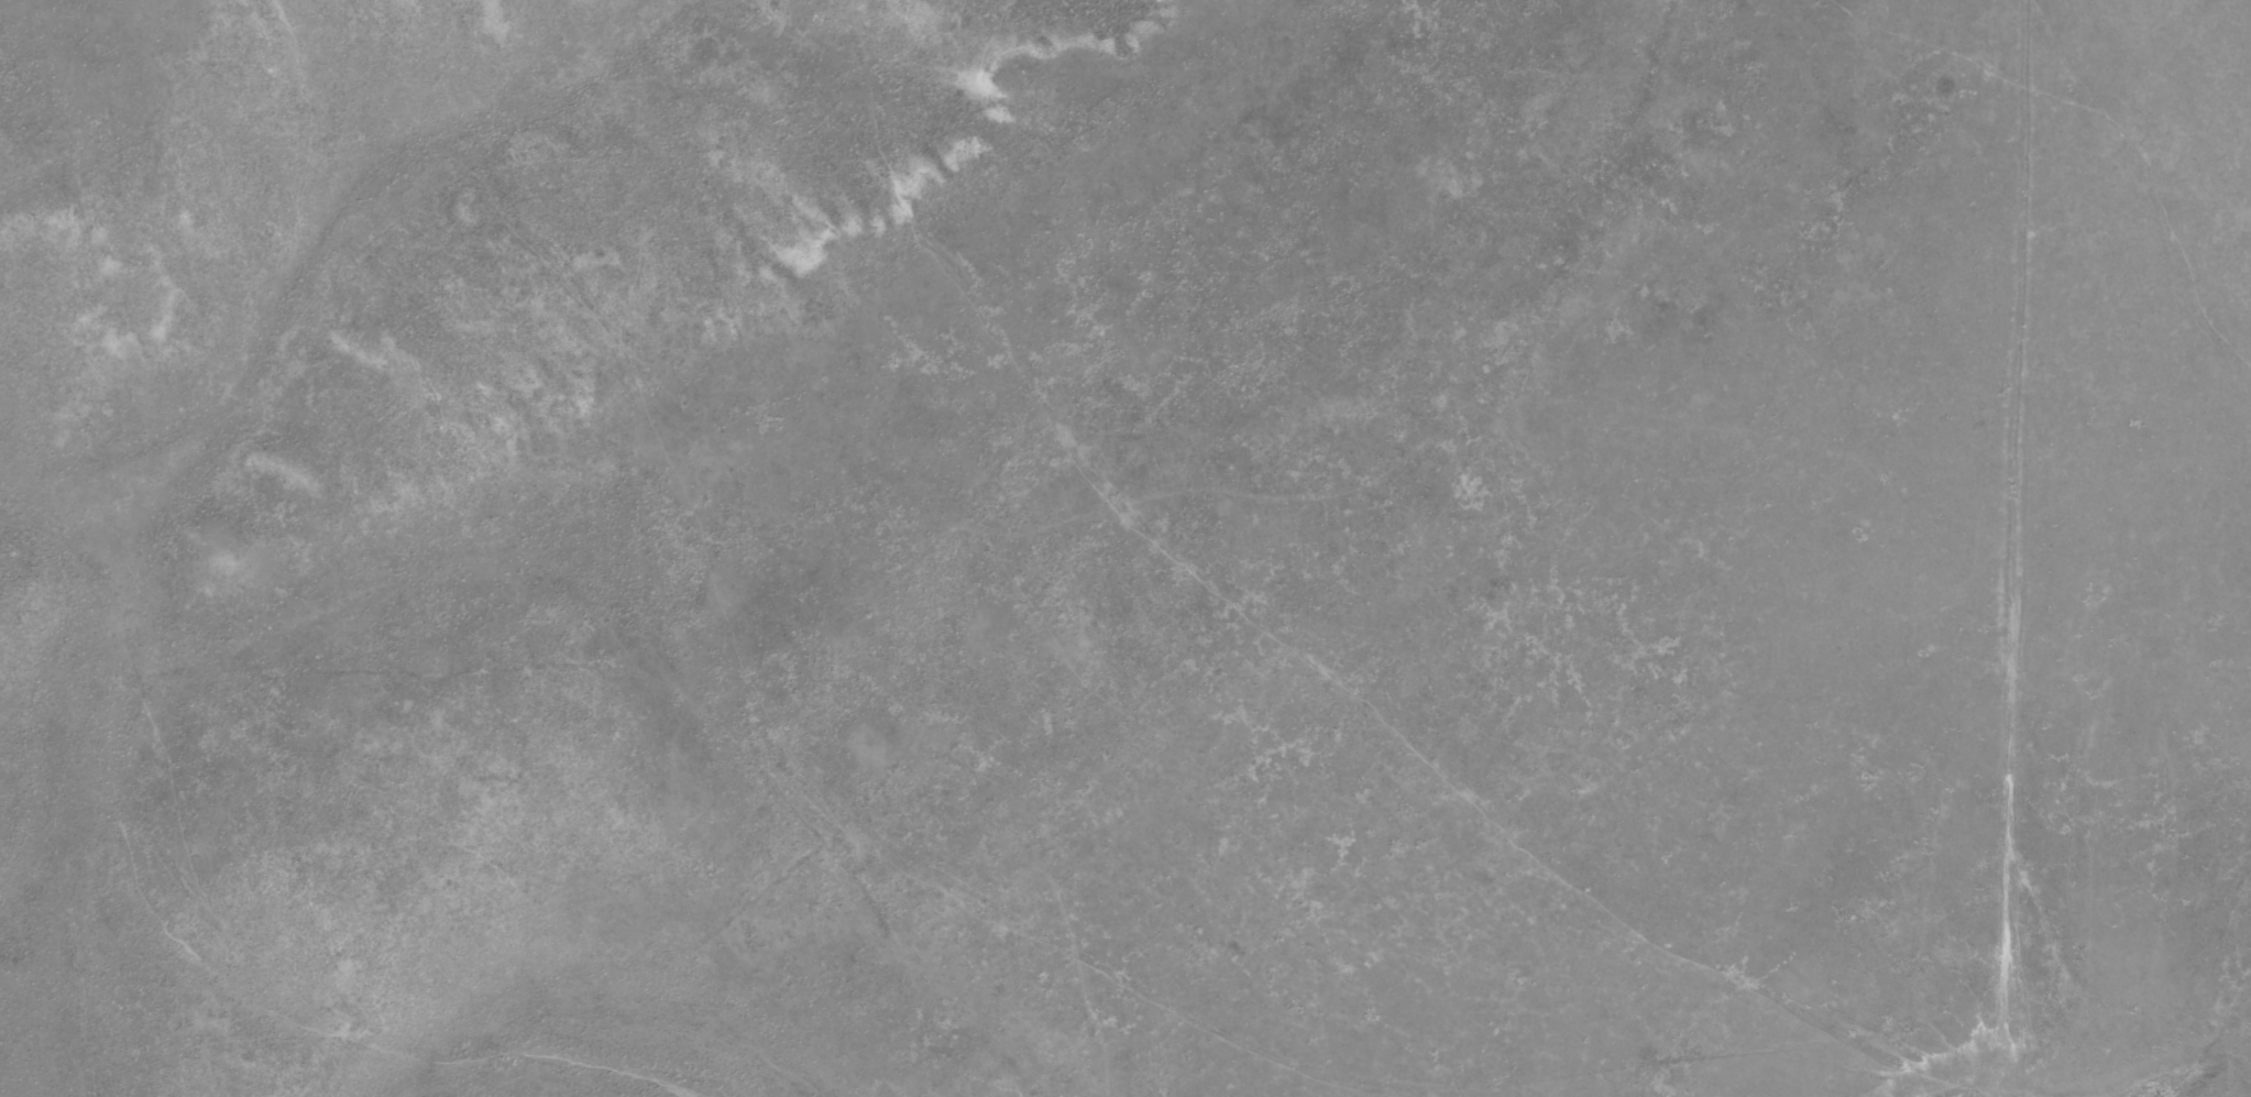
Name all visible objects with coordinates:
road: (1951, 680)

